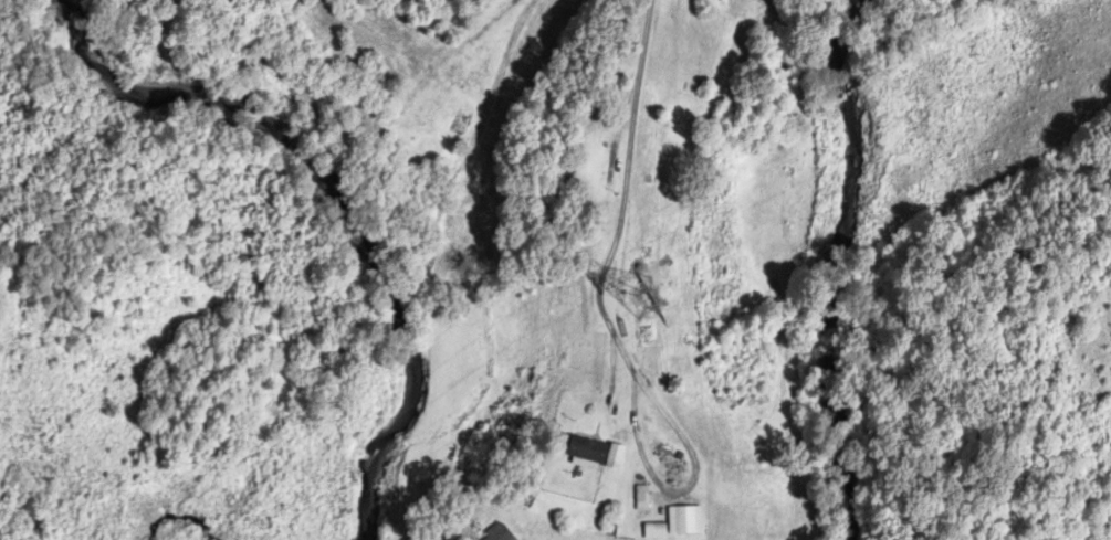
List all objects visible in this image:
building: (709, 3)
road: (622, 195)
building: (579, 223)
power tower: (644, 298)
building: (559, 443)
building: (586, 454)
road: (685, 487)
building: (640, 498)
building: (688, 520)
building: (497, 533)

